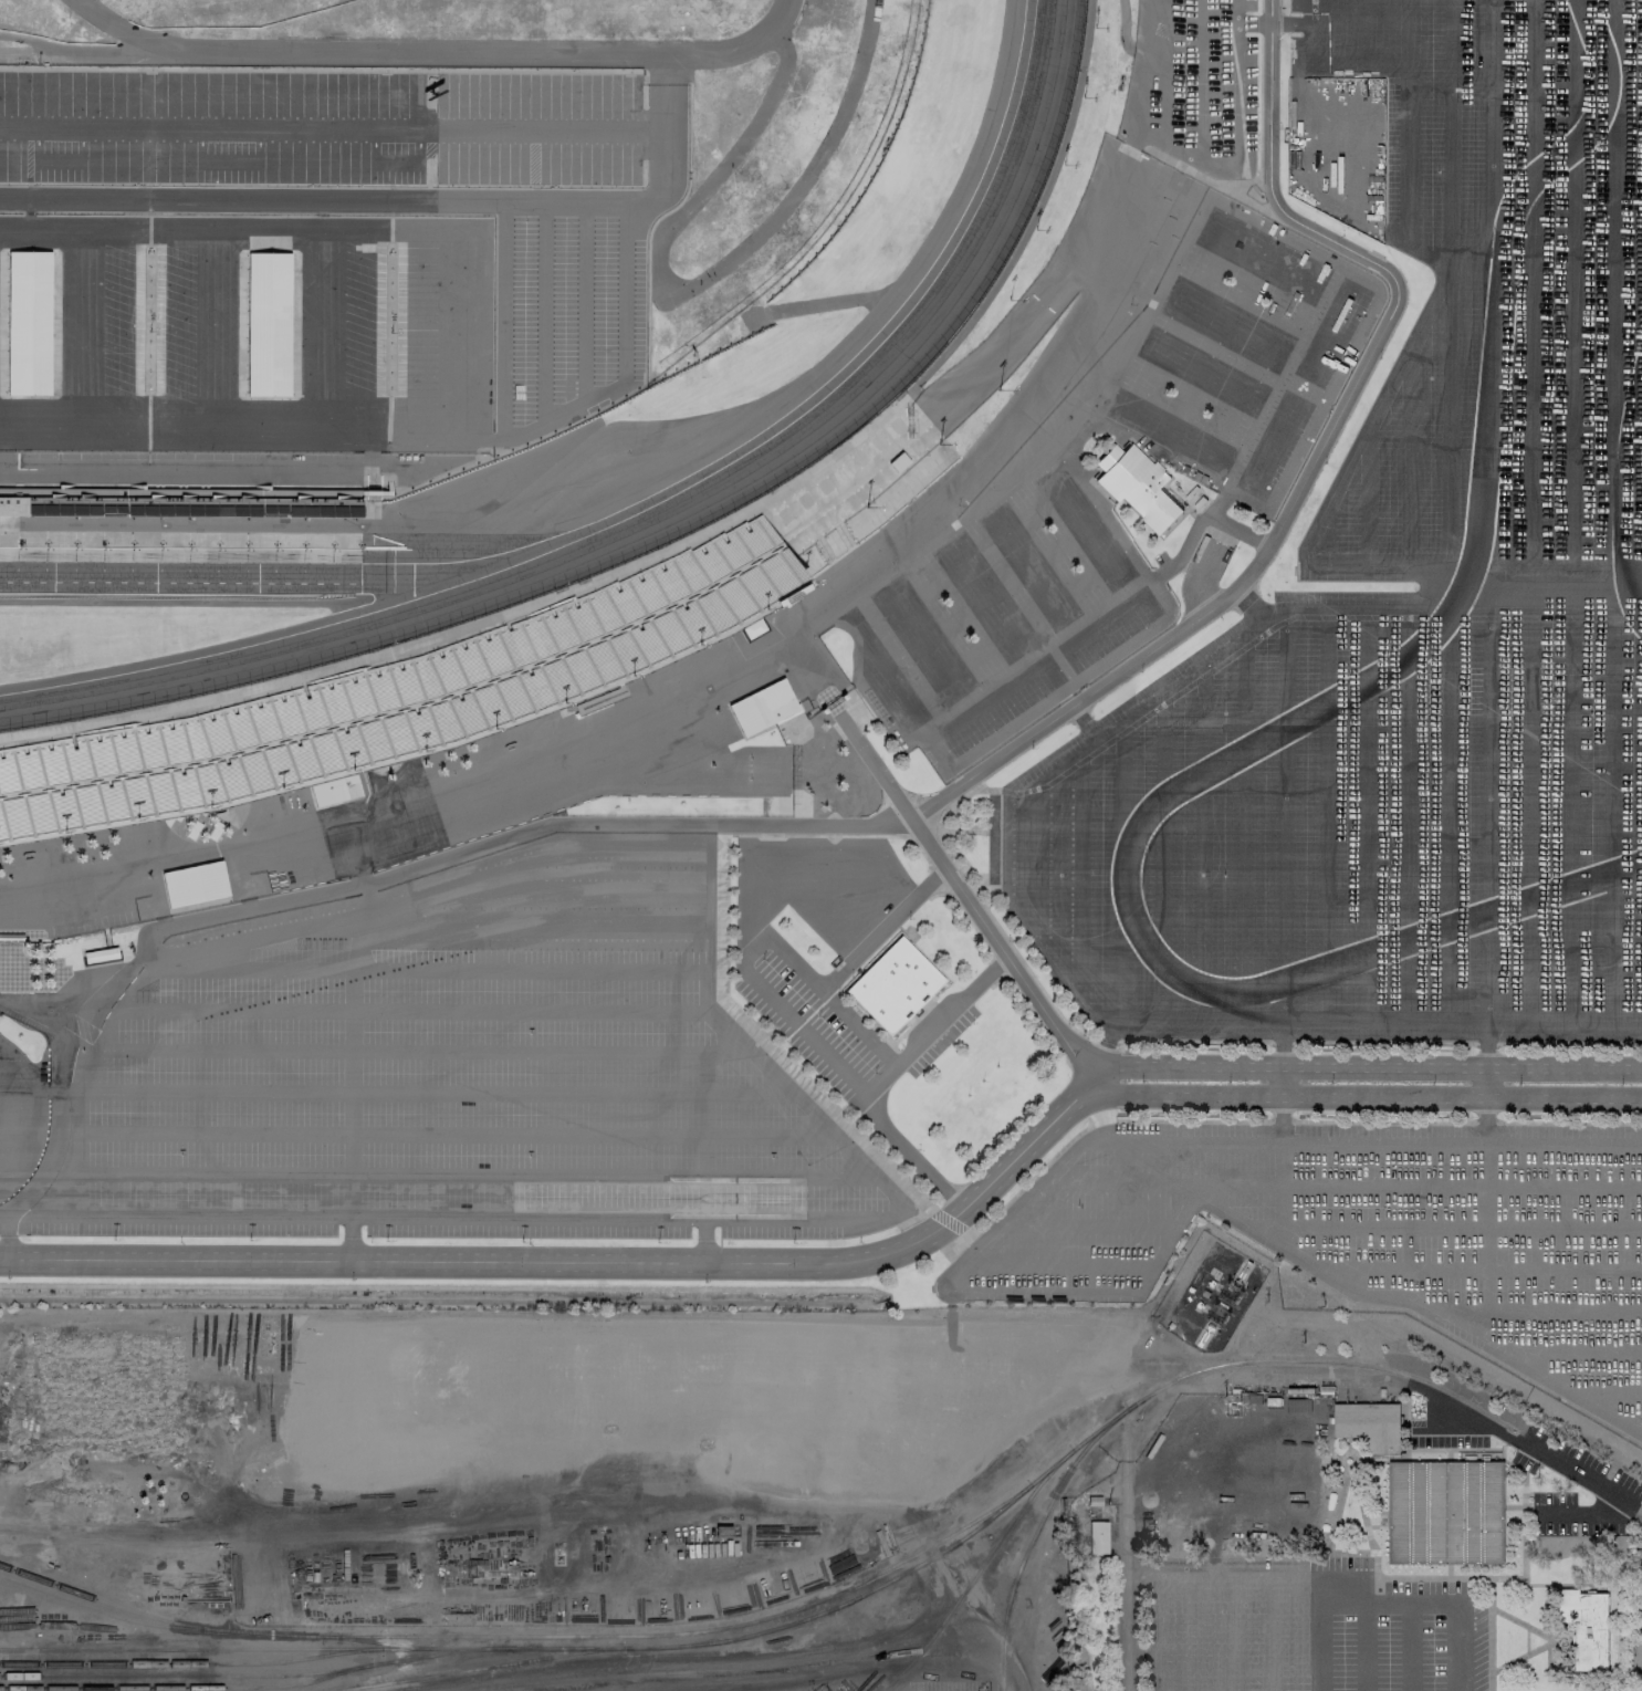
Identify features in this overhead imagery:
road: (1219, 22)
road: (1278, 23)
road: (83, 49)
road: (438, 52)
road: (318, 67)
road: (641, 76)
road: (1164, 77)
parking lot: (1192, 83)
road: (425, 98)
parking lot: (318, 126)
road: (331, 129)
road: (1192, 145)
road: (27, 155)
road: (426, 157)
road: (531, 158)
road: (1184, 158)
road: (59, 159)
road: (229, 161)
road: (396, 163)
road: (370, 184)
road: (401, 198)
road: (27, 212)
road: (367, 213)
road: (320, 215)
road: (482, 216)
road: (27, 219)
road: (320, 221)
road: (471, 222)
road: (335, 227)
road: (699, 281)
road: (624, 292)
road: (856, 298)
road: (583, 301)
parking lot: (571, 309)
road: (542, 311)
parking lot: (146, 319)
road: (500, 319)
parking lot: (387, 320)
building: (25, 324)
building: (265, 324)
road: (77, 331)
road: (210, 332)
road: (320, 332)
road: (388, 333)
road: (146, 348)
road: (557, 416)
road: (244, 437)
road: (1, 453)
road: (369, 457)
road: (1314, 460)
road: (202, 473)
building: (1134, 486)
road: (368, 493)
building: (180, 503)
raceway: (660, 520)
road: (1, 525)
road: (212, 531)
raceway: (1628, 541)
raceway: (260, 578)
parking lot: (1408, 618)
building: (750, 625)
building: (472, 658)
building: (760, 706)
road: (1080, 716)
raceway: (1294, 721)
building: (332, 786)
road: (765, 835)
road: (832, 836)
road: (649, 845)
road: (853, 846)
road: (365, 881)
building: (192, 883)
road: (576, 885)
road: (965, 898)
road: (881, 929)
road: (358, 949)
building: (97, 953)
road: (791, 962)
road: (201, 971)
building: (1641, 977)
building: (1583, 979)
building: (891, 983)
road: (1531, 984)
road: (1489, 991)
road: (1444, 1005)
road: (108, 1010)
road: (1542, 1017)
road: (92, 1037)
road: (423, 1050)
road: (97, 1067)
road: (1184, 1067)
parking lot: (453, 1071)
road: (1462, 1072)
road: (882, 1078)
road: (1283, 1082)
road: (1485, 1083)
road: (550, 1092)
road: (349, 1094)
road: (1364, 1094)
road: (456, 1134)
road: (702, 1135)
road: (1100, 1142)
road: (475, 1173)
road: (1341, 1184)
road: (974, 1197)
road: (364, 1217)
road: (1237, 1221)
road: (1086, 1225)
road: (1462, 1227)
parking lot: (1361, 1231)
road: (8, 1234)
road: (349, 1239)
road: (702, 1240)
road: (414, 1261)
road: (1055, 1265)
road: (1477, 1267)
road: (1394, 1297)
road: (1486, 1324)
road: (1569, 1350)
railway: (1165, 1385)
building: (1370, 1424)
railway: (1099, 1429)
road: (1535, 1453)
building: (1446, 1513)
road: (1577, 1514)
parking lot: (1568, 1516)
building: (1096, 1537)
road: (1130, 1551)
railway: (977, 1570)
railway: (876, 1589)
road: (1385, 1589)
railway: (111, 1604)
railway: (111, 1614)
building: (1585, 1626)
road: (1488, 1632)
railway: (650, 1635)
road: (984, 1639)
road: (1525, 1639)
road: (1551, 1639)
road: (1359, 1640)
road: (1405, 1640)
railway: (375, 1641)
railway: (321, 1648)
railway: (190, 1663)
railway: (479, 1668)
road: (739, 1672)
railway: (244, 1674)
railway: (186, 1687)
road: (523, 1690)

